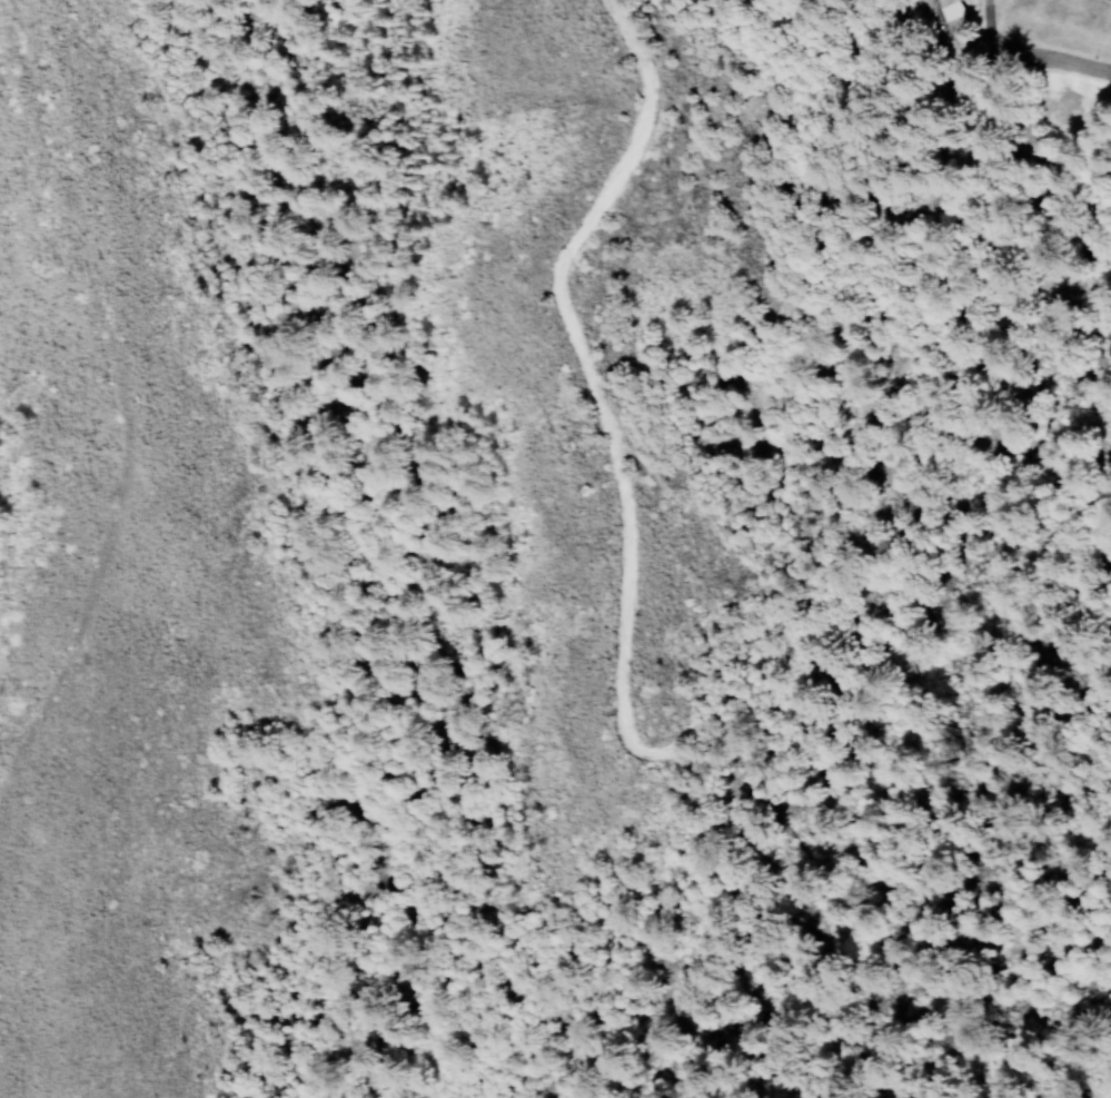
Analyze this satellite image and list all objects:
dam: (1030, 6)
building: (946, 8)
road: (1019, 66)
road: (130, 423)
road: (637, 741)
road: (611, 927)

